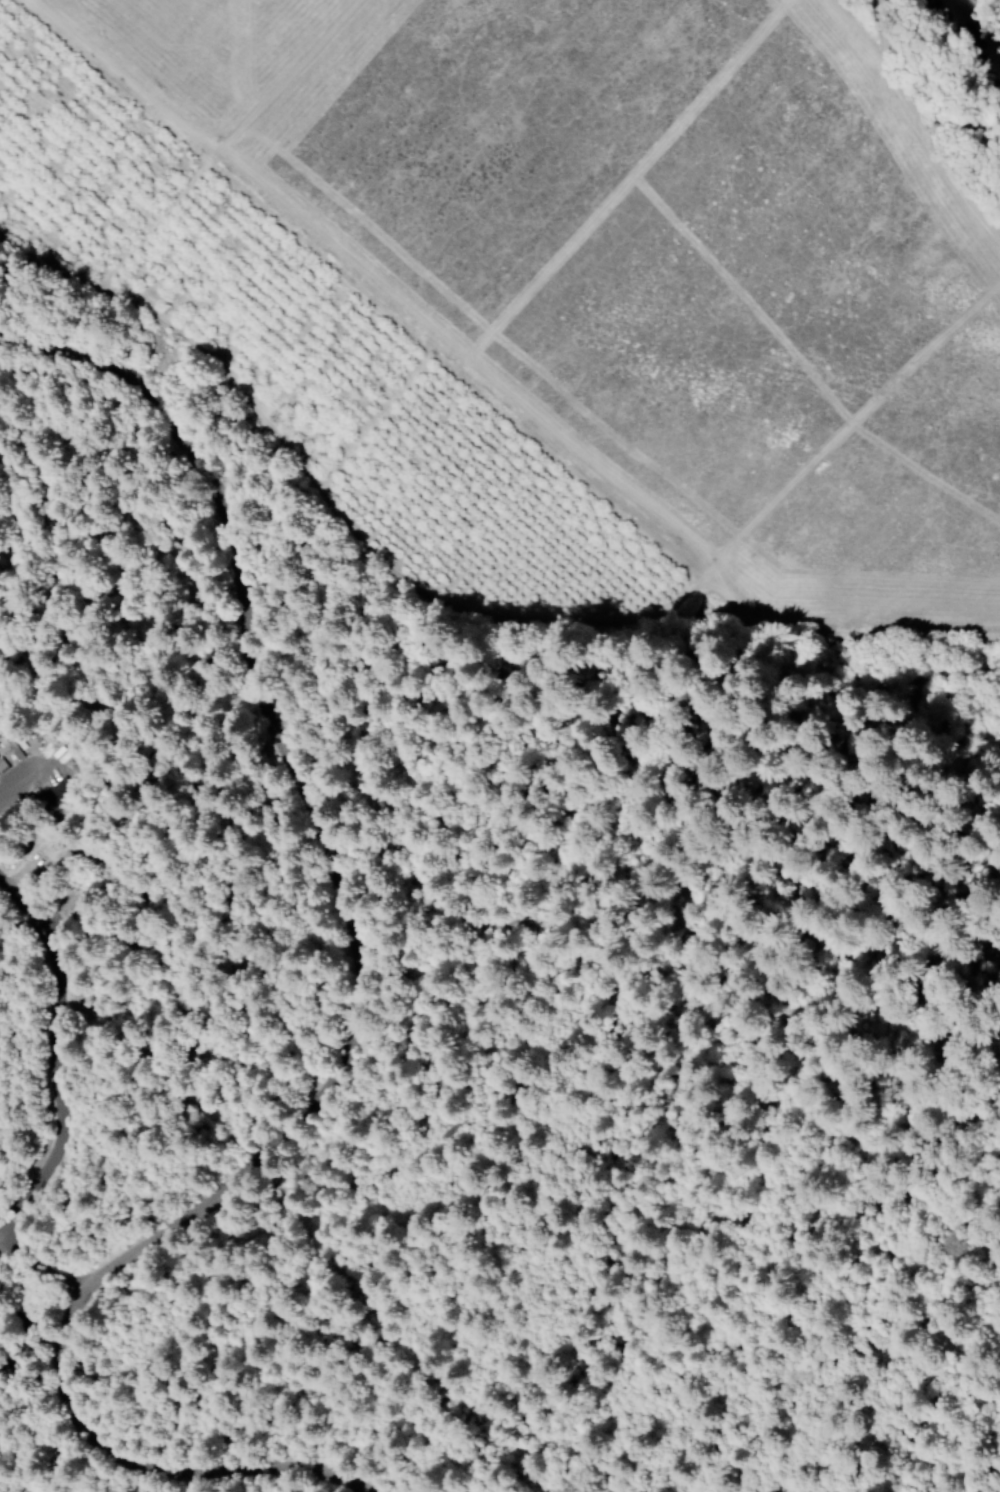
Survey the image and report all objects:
river: (958, 62)
road: (486, 389)
road: (491, 645)
road: (921, 794)
road: (315, 822)
road: (700, 989)
road: (982, 1090)
road: (59, 1094)
road: (396, 1172)
road: (954, 1191)
road: (954, 1314)
road: (32, 1330)
road: (870, 1336)
road: (141, 1385)
road: (722, 1408)
road: (55, 1454)
road: (163, 1474)
road: (850, 1483)

